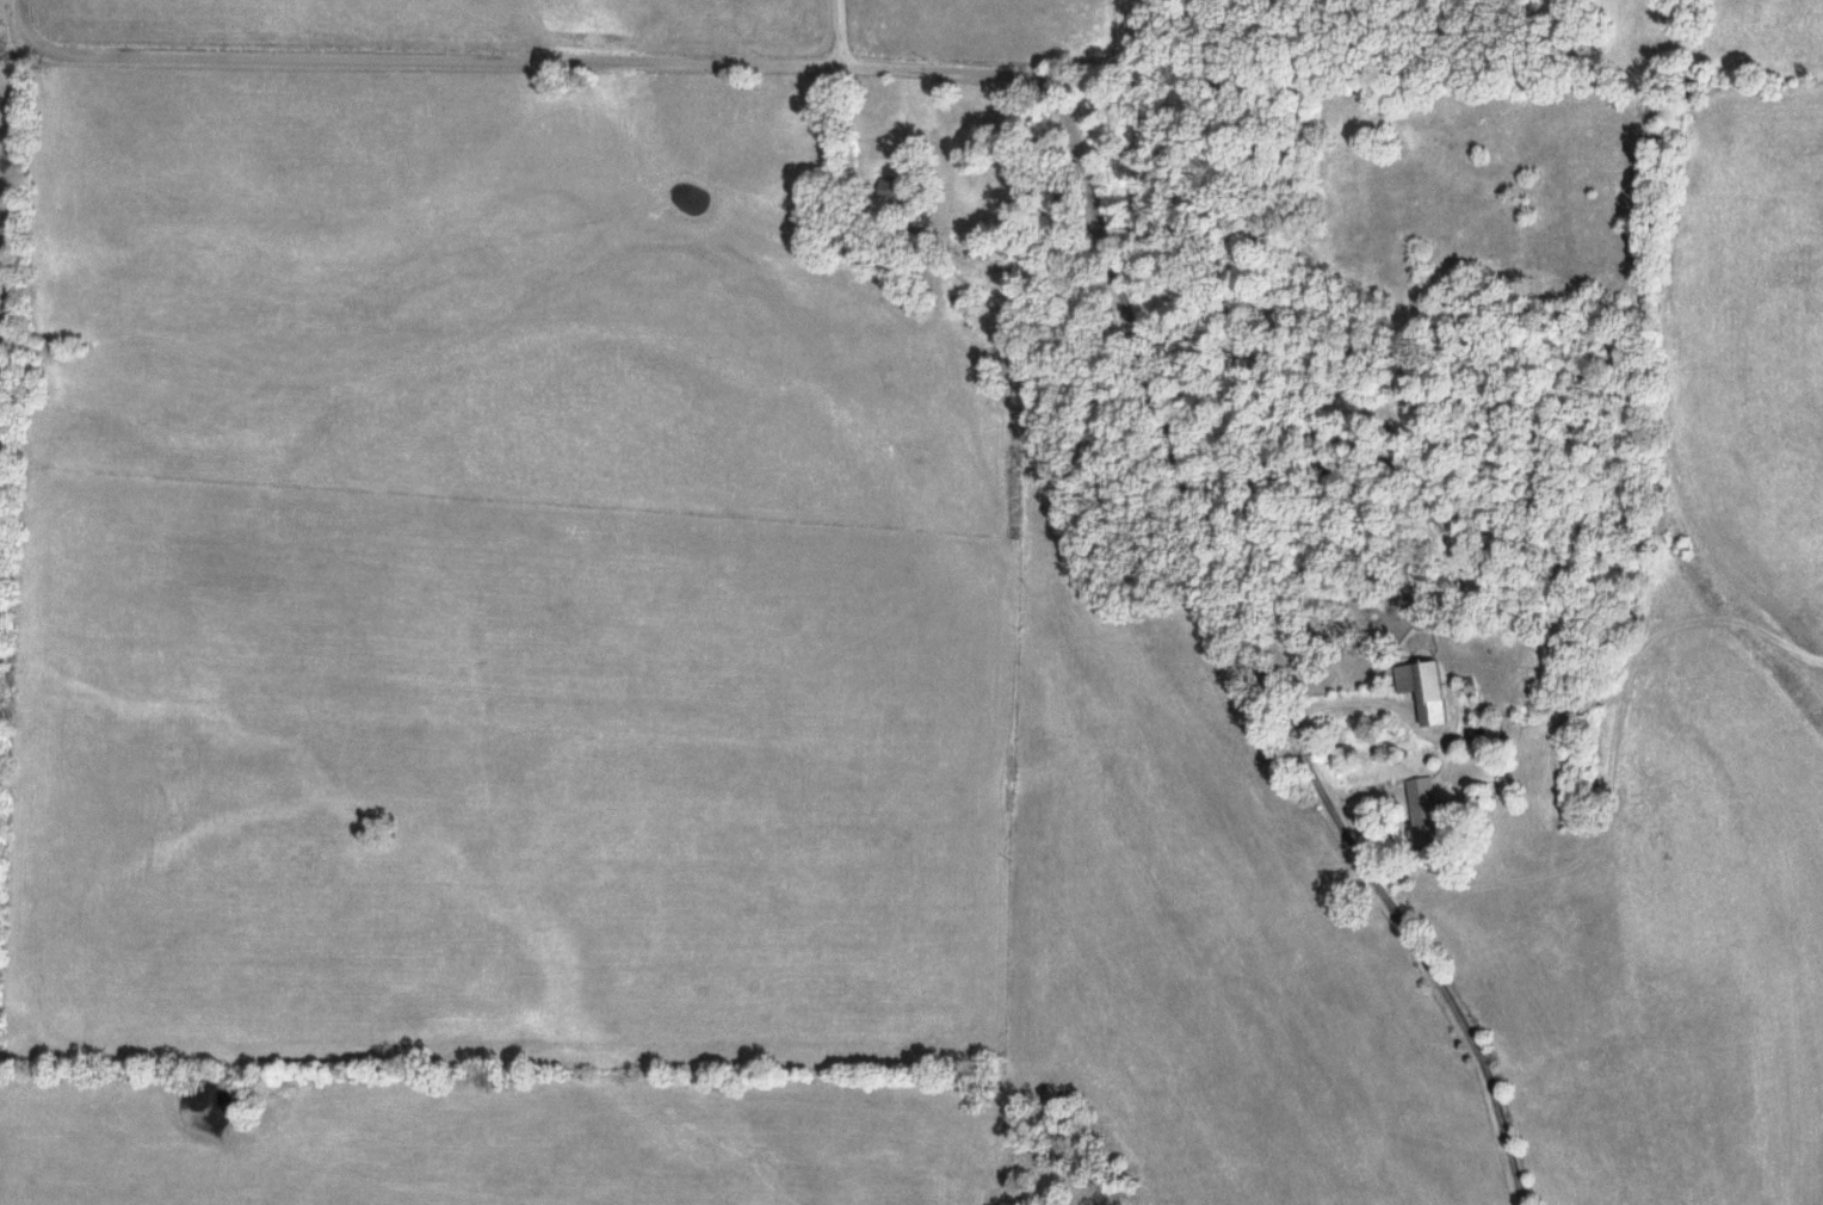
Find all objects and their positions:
road: (838, 30)
road: (1057, 175)
building: (1429, 690)
road: (1407, 778)
building: (1434, 814)

